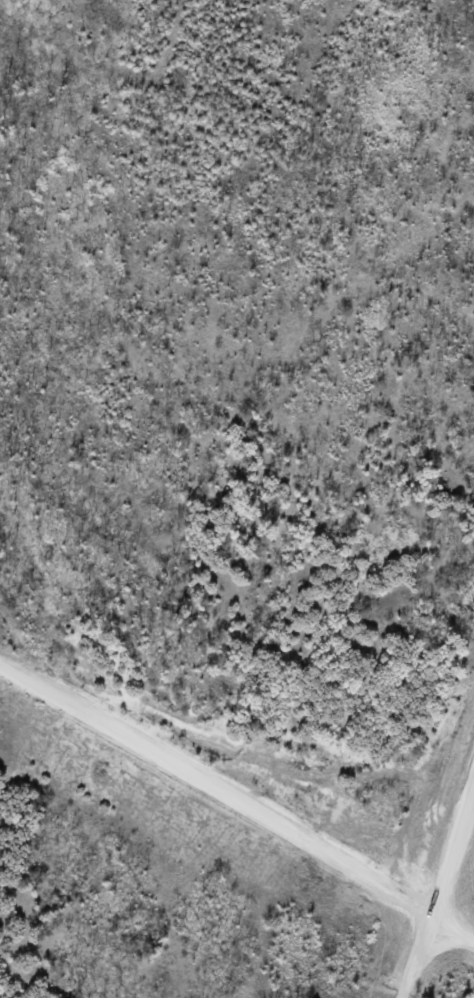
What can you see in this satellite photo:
road: (437, 890)
road: (450, 935)

